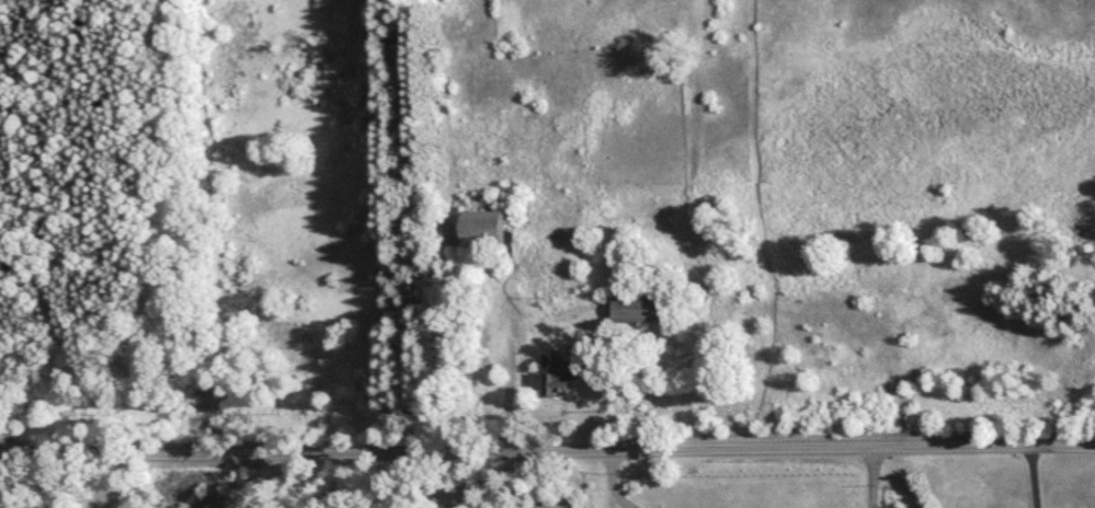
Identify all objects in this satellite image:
building: (480, 230)
building: (640, 305)
building: (564, 379)
road: (547, 452)
road: (1030, 477)
road: (872, 480)
road: (612, 485)
road: (512, 488)

